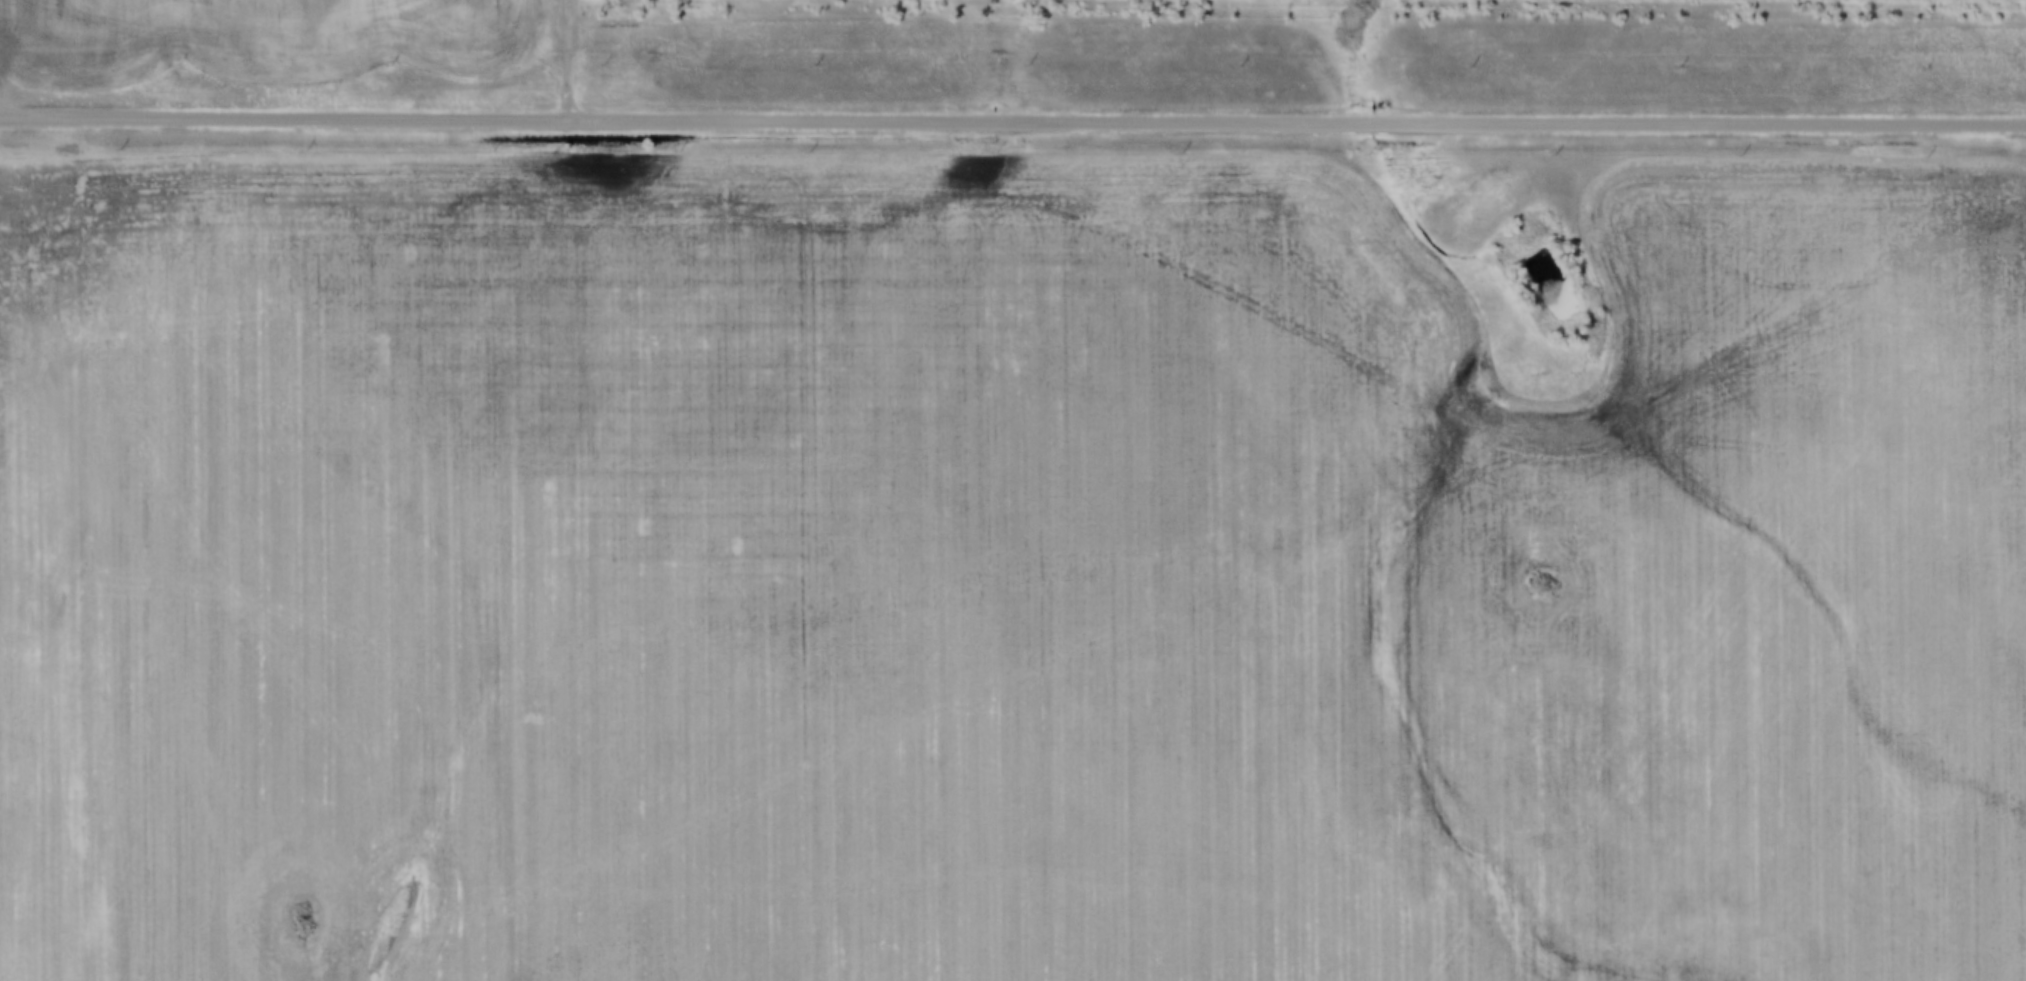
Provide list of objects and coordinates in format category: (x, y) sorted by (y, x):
road: (1012, 126)

